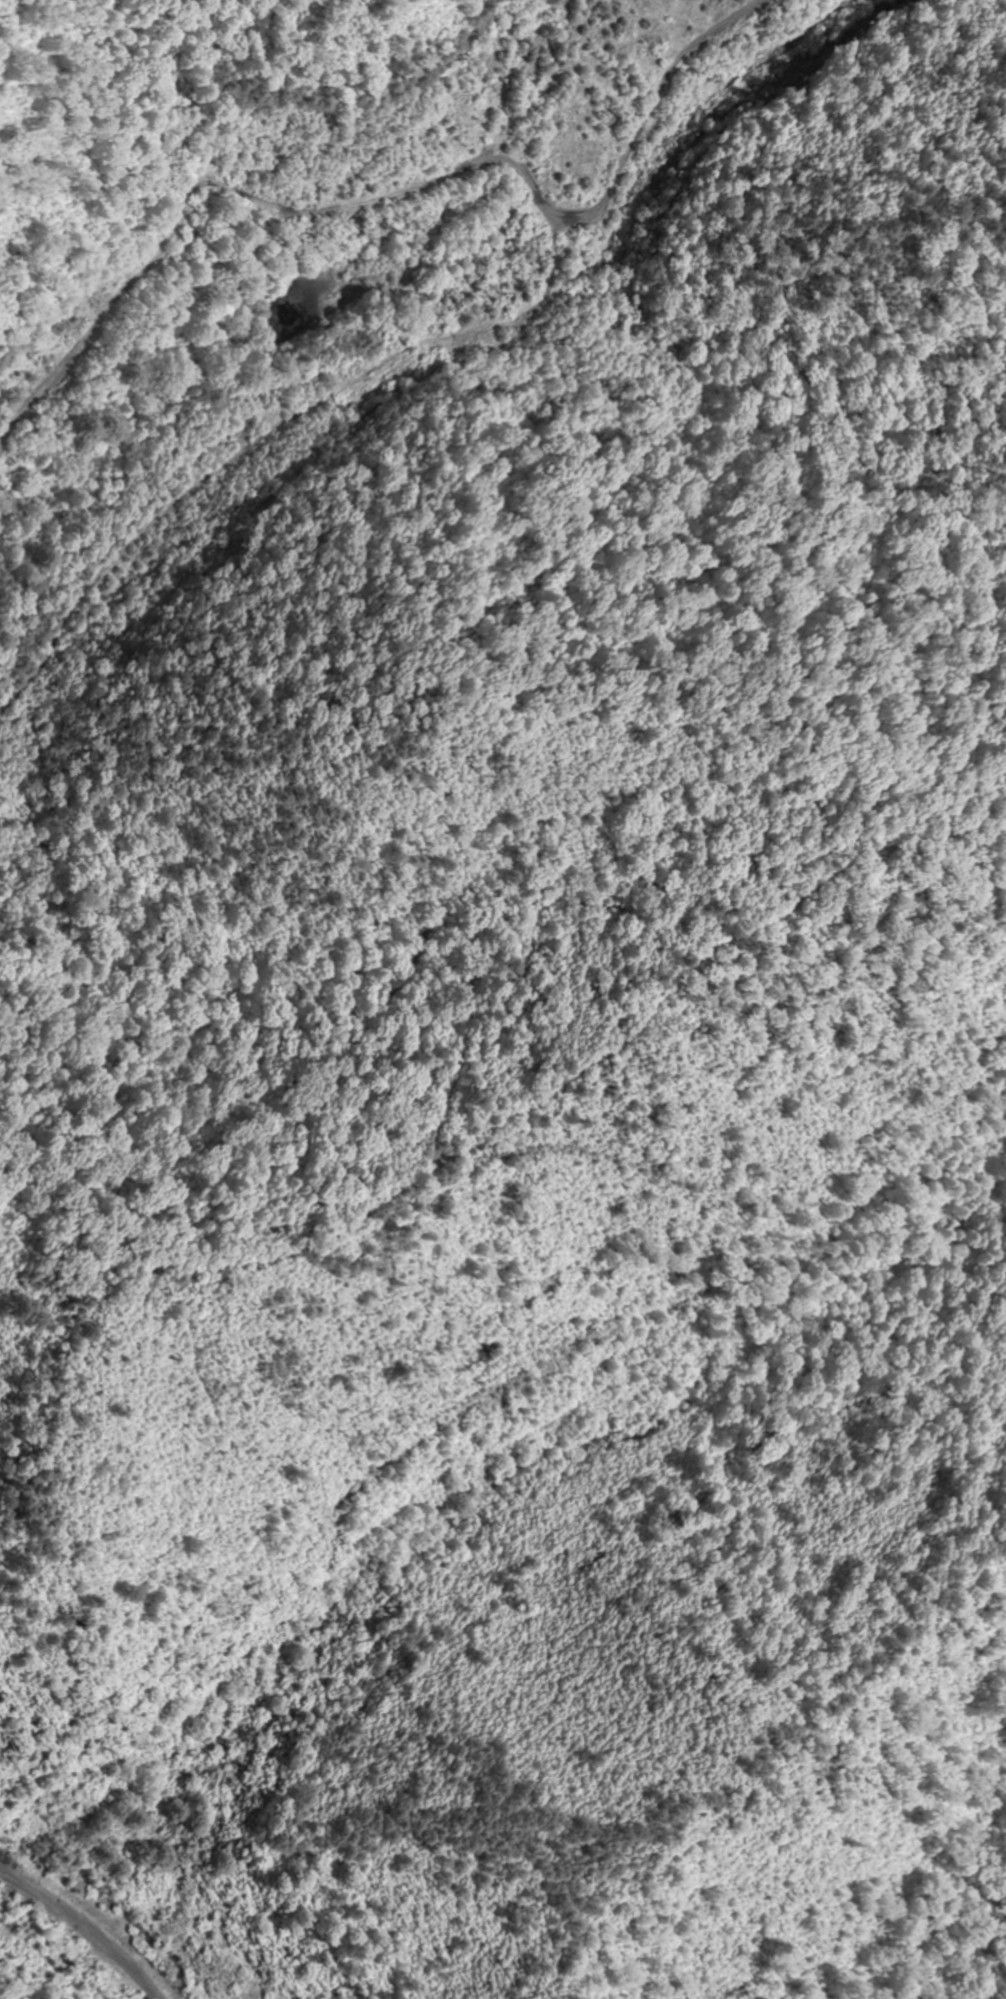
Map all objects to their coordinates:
road: (82, 1928)

